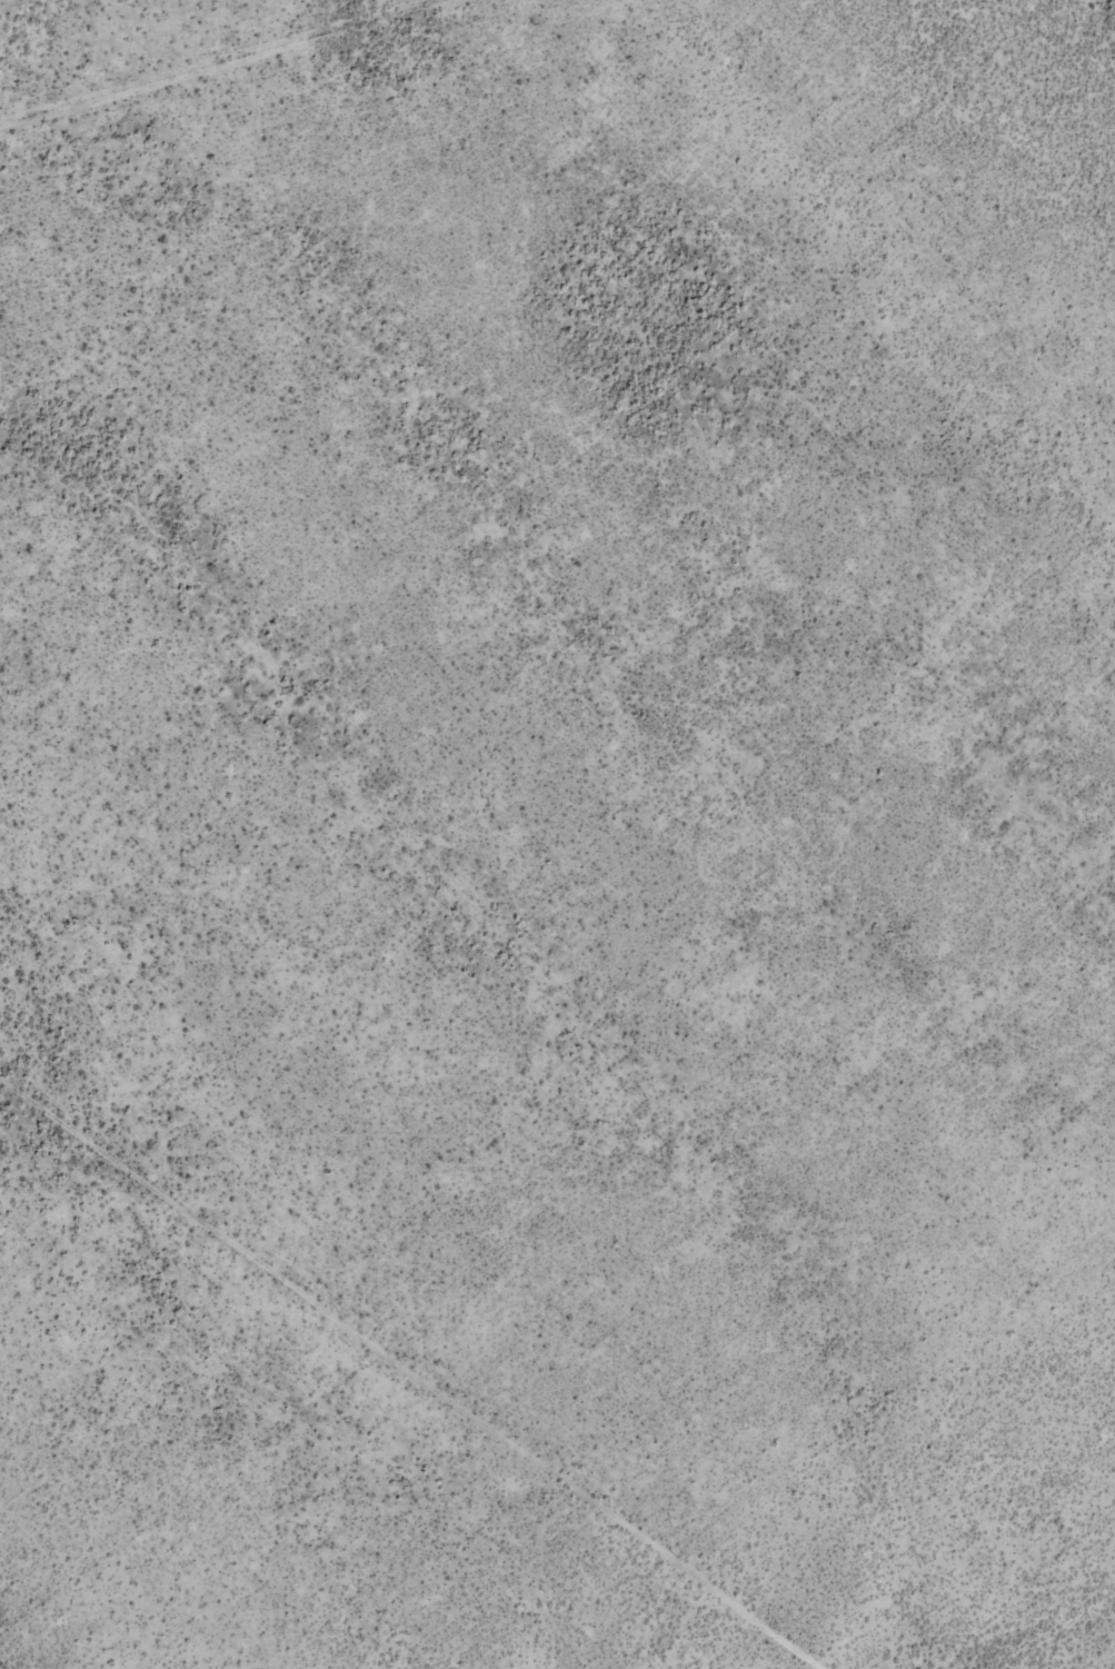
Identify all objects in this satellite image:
road: (416, 1369)

